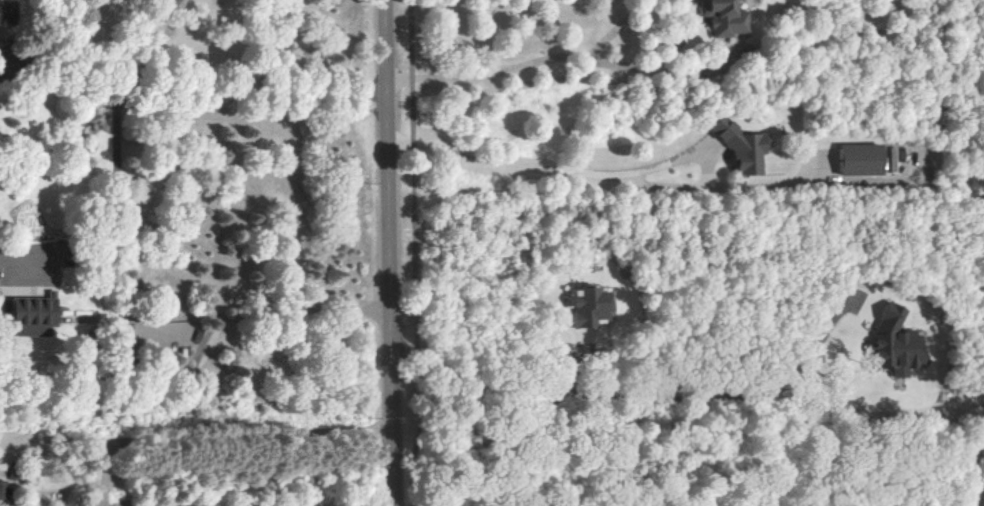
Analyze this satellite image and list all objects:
building: (4, 13)
building: (725, 17)
road: (566, 56)
road: (193, 91)
building: (745, 149)
building: (862, 159)
road: (553, 168)
road: (118, 199)
road: (390, 253)
road: (415, 254)
building: (590, 307)
building: (36, 310)
road: (239, 318)
building: (896, 343)
road: (53, 439)
road: (218, 439)
building: (3, 490)

